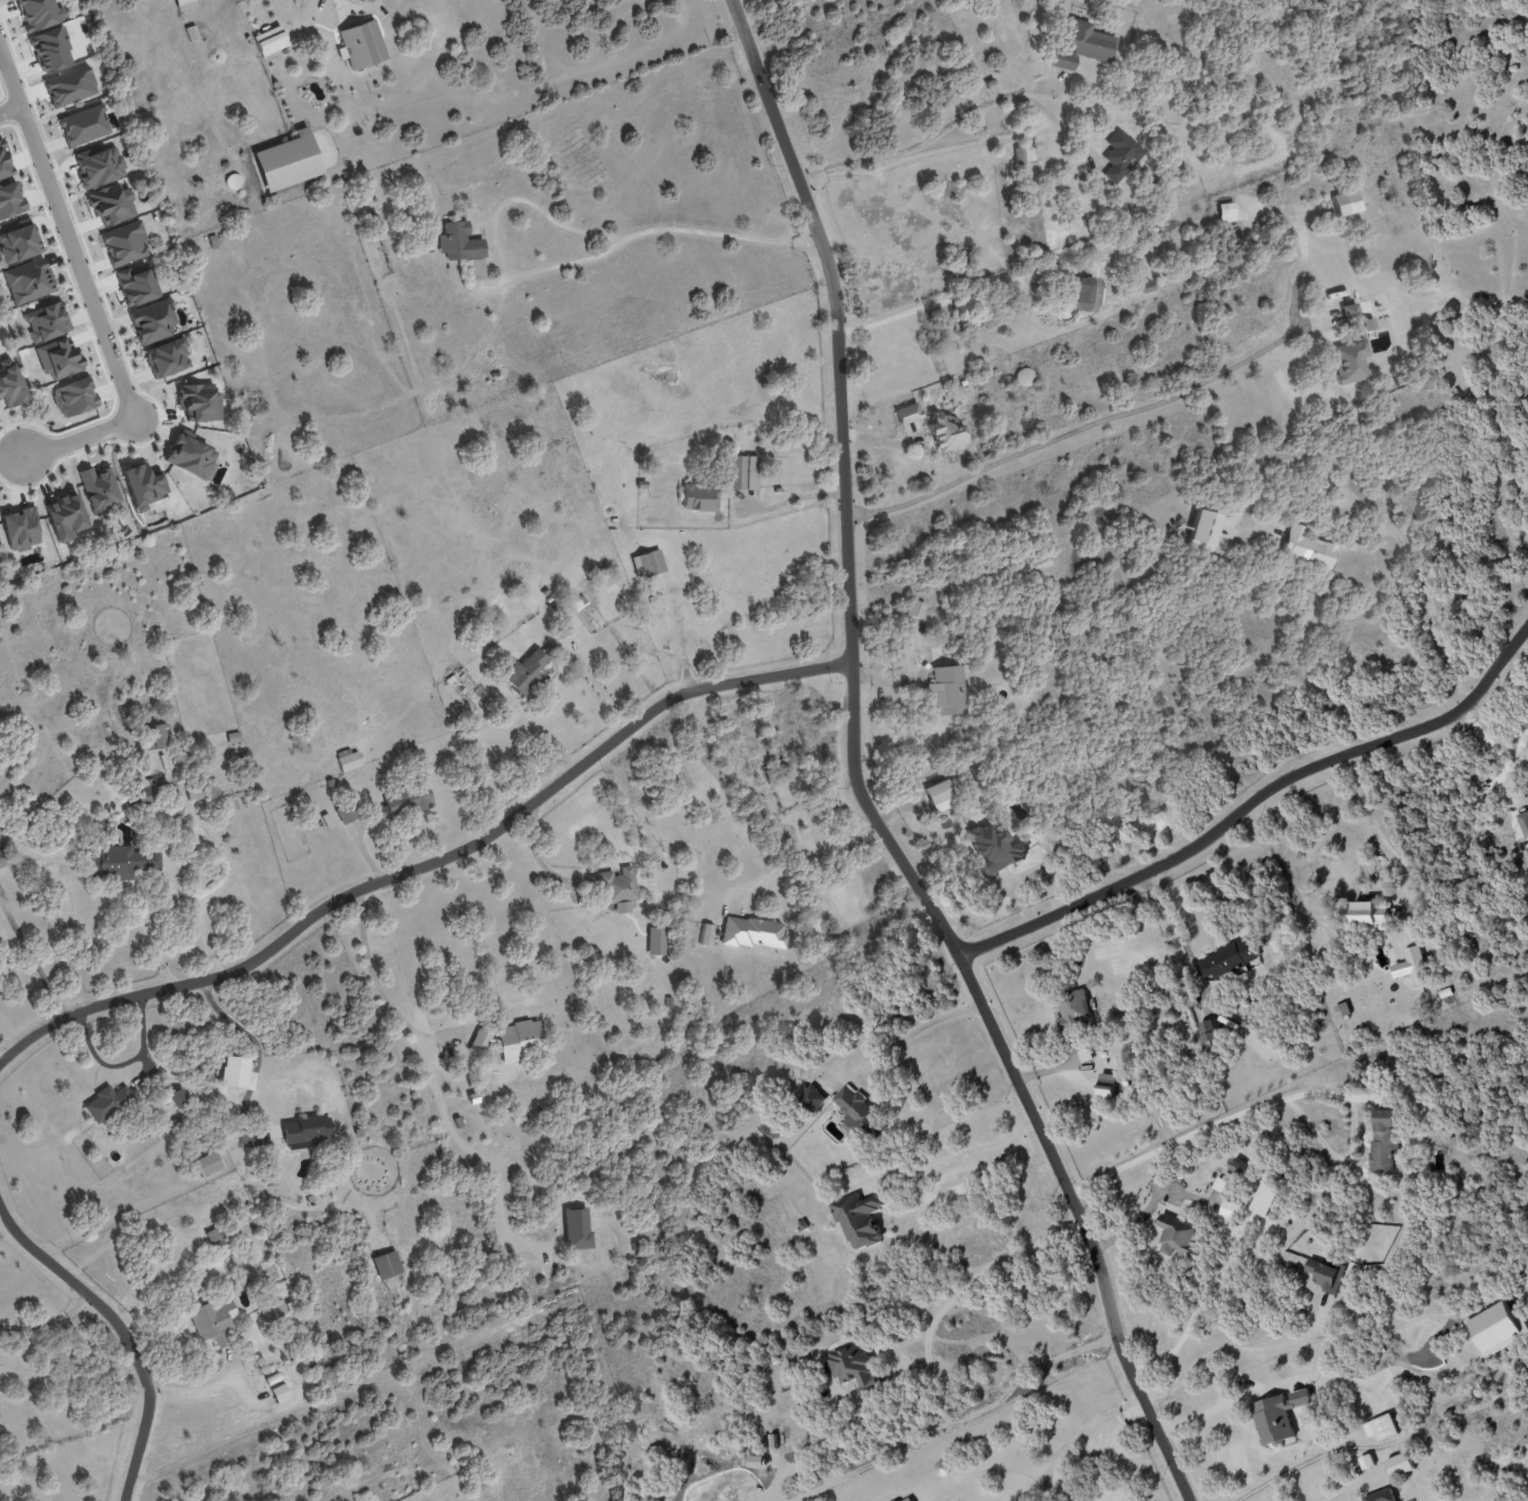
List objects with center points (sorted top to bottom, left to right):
road: (364, 1)
building: (185, 5)
building: (39, 13)
building: (270, 40)
building: (361, 44)
building: (1083, 45)
building: (50, 48)
building: (69, 86)
road: (1038, 105)
road: (7, 108)
building: (83, 125)
road: (926, 139)
road: (952, 150)
building: (1019, 155)
building: (1120, 155)
building: (286, 161)
building: (4, 163)
building: (98, 166)
building: (10, 200)
building: (1346, 202)
building: (111, 203)
building: (1226, 212)
road: (647, 231)
building: (221, 235)
building: (215, 241)
building: (19, 243)
building: (124, 243)
building: (462, 247)
building: (29, 280)
building: (136, 285)
road: (83, 292)
building: (1085, 293)
road: (935, 302)
building: (46, 321)
building: (152, 321)
building: (58, 357)
building: (167, 357)
building: (10, 384)
building: (75, 396)
building: (199, 402)
building: (1526, 404)
building: (908, 413)
road: (1071, 429)
building: (946, 431)
building: (190, 454)
building: (741, 472)
building: (143, 485)
building: (100, 489)
building: (699, 497)
road: (784, 500)
building: (66, 516)
building: (21, 529)
building: (1204, 529)
building: (1306, 547)
building: (648, 563)
road: (1419, 577)
building: (915, 608)
building: (526, 673)
road: (593, 682)
building: (946, 690)
building: (157, 736)
building: (234, 738)
building: (348, 759)
building: (775, 772)
road: (857, 778)
building: (145, 788)
building: (198, 789)
building: (938, 791)
building: (403, 802)
road: (1252, 802)
building: (345, 813)
building: (1523, 823)
road: (1376, 833)
building: (110, 838)
building: (995, 849)
road: (536, 853)
building: (3, 858)
road: (799, 859)
building: (119, 863)
road: (426, 866)
road: (1027, 874)
building: (618, 885)
road: (1168, 913)
building: (1364, 917)
building: (753, 932)
building: (706, 934)
building: (655, 941)
road: (33, 958)
building: (1226, 959)
building: (1411, 965)
building: (1444, 992)
building: (1075, 1009)
road: (905, 1037)
building: (520, 1040)
building: (479, 1042)
road: (256, 1060)
road: (0, 1061)
road: (124, 1062)
road: (434, 1083)
building: (1106, 1086)
building: (180, 1096)
building: (813, 1097)
building: (106, 1102)
building: (853, 1108)
building: (177, 1123)
road: (1207, 1126)
building: (305, 1130)
building: (1382, 1140)
building: (194, 1141)
road: (964, 1153)
building: (208, 1164)
building: (1239, 1167)
building: (271, 1181)
building: (1264, 1199)
building: (859, 1219)
road: (1135, 1219)
building: (577, 1228)
building: (213, 1235)
building: (1175, 1236)
building: (387, 1264)
road: (1218, 1274)
building: (1326, 1274)
road: (957, 1294)
building: (290, 1306)
building: (274, 1311)
road: (47, 1322)
building: (214, 1322)
road: (124, 1332)
road: (1237, 1349)
building: (855, 1367)
road: (191, 1385)
road: (1269, 1387)
building: (281, 1394)
building: (1278, 1415)
building: (1381, 1428)
building: (1366, 1461)
road: (1098, 1462)
building: (1399, 1465)
road: (1021, 1471)
road: (1354, 1494)
building: (1380, 1496)
building: (906, 1499)

